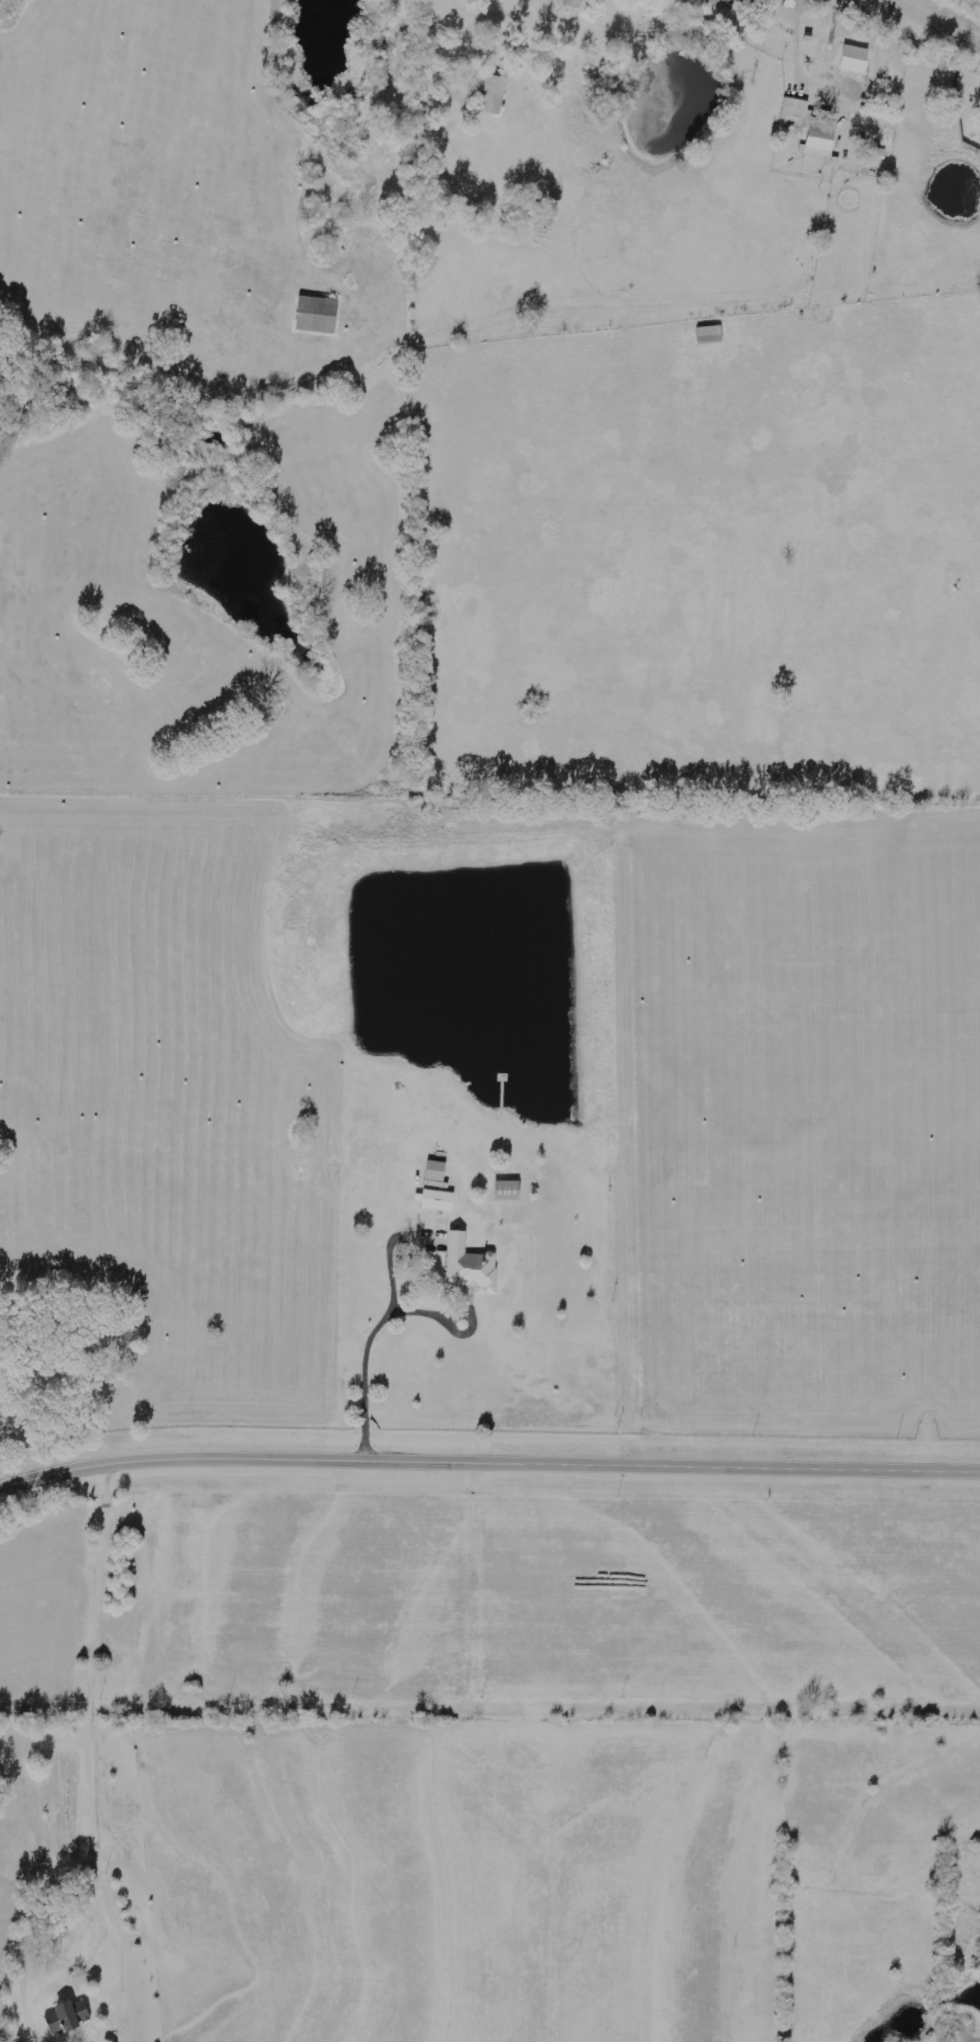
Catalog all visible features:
building: (741, 7)
road: (931, 22)
building: (492, 93)
building: (797, 109)
building: (820, 139)
building: (318, 315)
building: (508, 1190)
building: (469, 1264)
road: (488, 1468)
building: (68, 2018)

